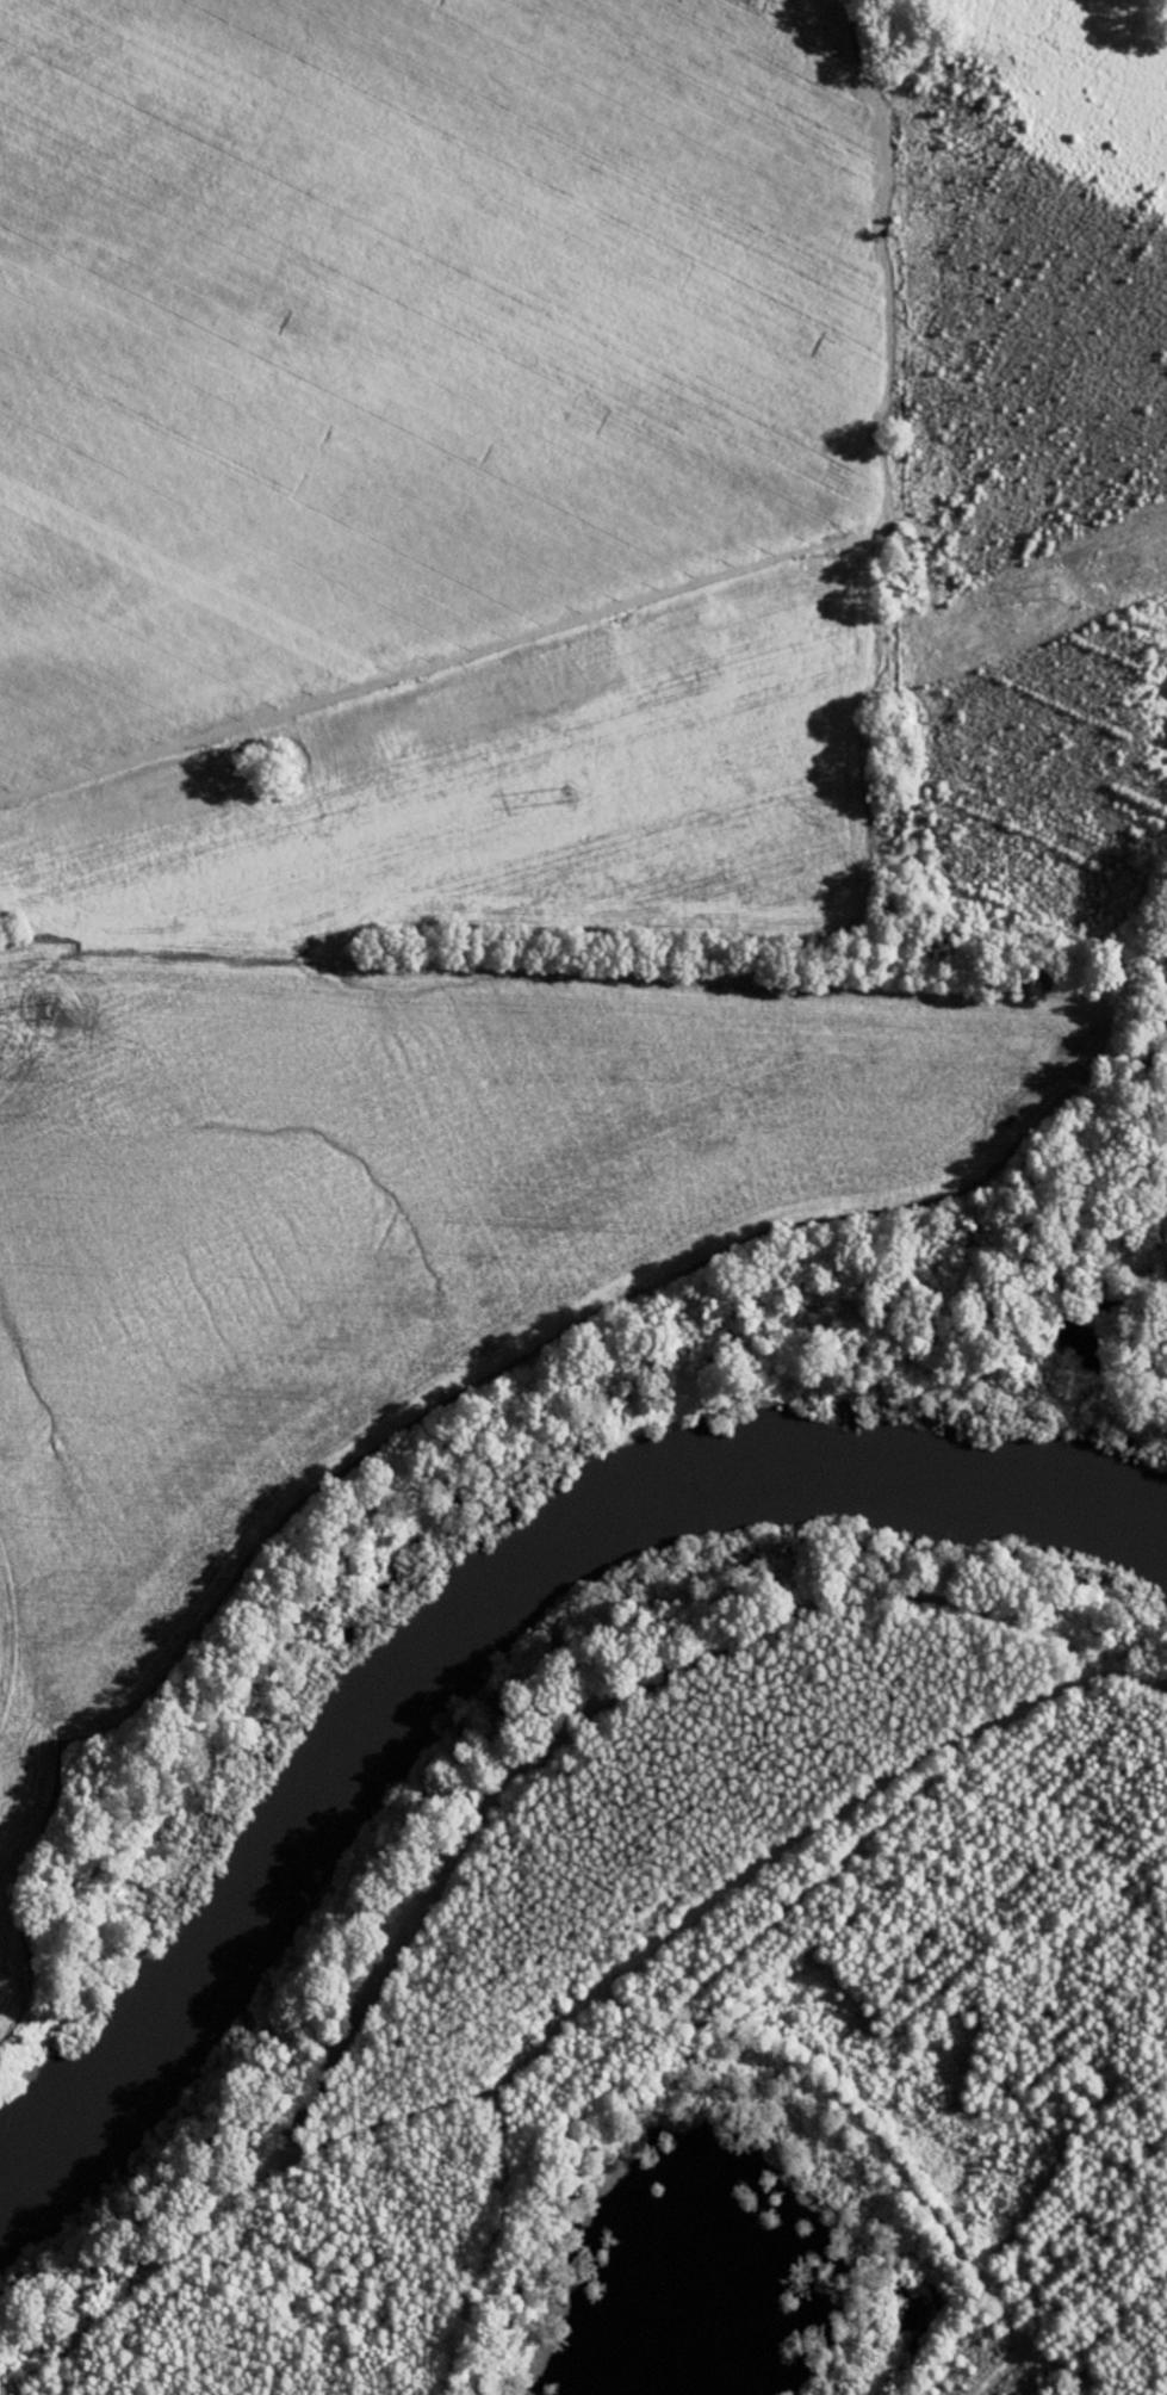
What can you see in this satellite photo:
power tower: (1055, 590)
power tower: (570, 794)
road: (38, 955)
power tower: (54, 1010)
river: (466, 1611)
road: (365, 2129)

